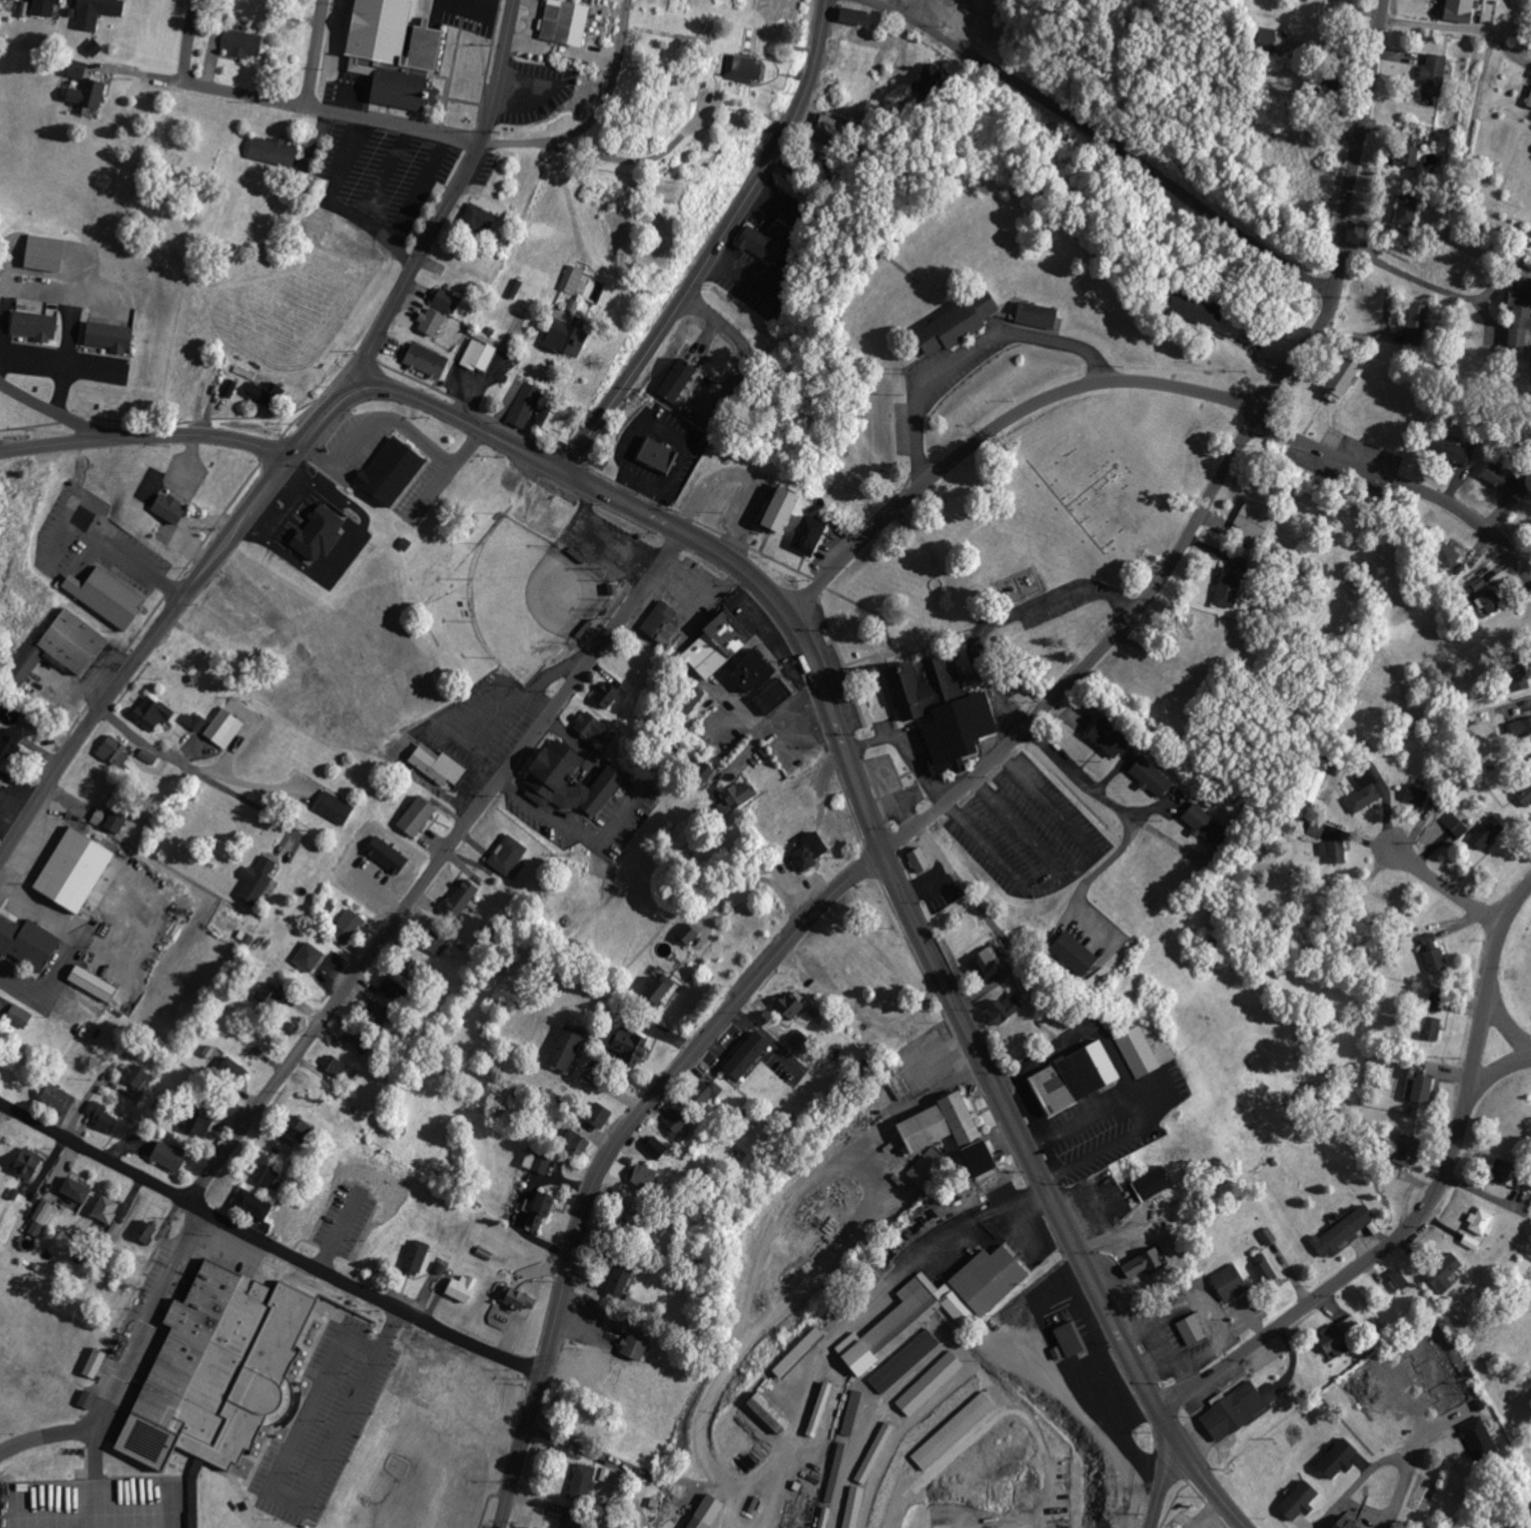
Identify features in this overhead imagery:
building: (47, 0)
road: (478, 1)
building: (88, 10)
building: (845, 14)
parking lot: (459, 20)
building: (562, 21)
road: (187, 41)
building: (237, 41)
road: (1485, 42)
road: (315, 54)
building: (385, 54)
building: (735, 66)
building: (78, 83)
parking lot: (532, 90)
road: (315, 110)
road: (592, 116)
road: (1104, 139)
building: (267, 149)
road: (634, 160)
parking lot: (380, 178)
road: (449, 202)
building: (472, 216)
building: (761, 239)
road: (716, 248)
road: (1412, 270)
building: (566, 278)
building: (438, 296)
building: (424, 320)
building: (31, 326)
building: (559, 334)
building: (104, 337)
road: (739, 340)
road: (969, 352)
building: (474, 353)
building: (421, 360)
road: (54, 362)
road: (490, 371)
building: (1338, 377)
building: (669, 378)
building: (519, 402)
road: (38, 403)
road: (1016, 412)
road: (394, 419)
building: (552, 426)
road: (106, 430)
road: (145, 437)
building: (651, 454)
road: (551, 464)
road: (597, 470)
park: (1098, 470)
building: (385, 473)
road: (1221, 475)
road: (1403, 485)
road: (290, 507)
building: (164, 508)
building: (771, 508)
road: (610, 509)
building: (312, 531)
building: (802, 532)
building: (917, 581)
park: (521, 592)
road: (803, 594)
building: (101, 599)
road: (170, 615)
road: (1007, 619)
building: (657, 621)
building: (66, 641)
building: (708, 644)
building: (20, 664)
building: (743, 670)
building: (605, 690)
building: (768, 695)
building: (687, 697)
road: (502, 705)
building: (147, 710)
building: (938, 712)
building: (190, 719)
building: (590, 725)
road: (772, 725)
building: (220, 726)
road: (144, 742)
building: (109, 750)
building: (143, 754)
building: (433, 763)
building: (699, 772)
building: (543, 777)
road: (248, 786)
building: (733, 795)
road: (861, 798)
road: (246, 799)
building: (330, 806)
road: (1058, 812)
road: (1125, 813)
building: (411, 814)
building: (106, 816)
road: (572, 834)
building: (804, 848)
building: (503, 852)
building: (914, 858)
road: (21, 862)
road: (432, 865)
building: (67, 868)
road: (757, 876)
building: (252, 878)
road: (1056, 882)
road: (1446, 890)
building: (456, 896)
building: (343, 924)
building: (685, 931)
building: (431, 940)
building: (25, 942)
building: (1063, 952)
building: (304, 955)
building: (979, 960)
building: (407, 963)
building: (88, 981)
building: (653, 982)
road: (9, 983)
building: (392, 986)
building: (266, 990)
building: (783, 1002)
building: (999, 1005)
building: (373, 1011)
building: (16, 1015)
road: (1507, 1032)
building: (357, 1036)
building: (795, 1037)
building: (623, 1043)
building: (561, 1046)
building: (1134, 1049)
building: (252, 1050)
building: (739, 1052)
building: (331, 1063)
building: (229, 1069)
building: (1069, 1075)
building: (136, 1076)
building: (698, 1087)
road: (941, 1088)
building: (54, 1095)
road: (1137, 1111)
building: (595, 1112)
building: (99, 1113)
building: (674, 1120)
building: (936, 1121)
building: (194, 1122)
building: (296, 1126)
building: (572, 1141)
building: (652, 1145)
road: (615, 1147)
building: (165, 1153)
building: (973, 1157)
building: (533, 1160)
building: (927, 1166)
building: (262, 1174)
building: (638, 1175)
building: (1145, 1181)
building: (250, 1202)
road: (1427, 1207)
building: (531, 1211)
building: (319, 1224)
road: (1104, 1226)
road: (268, 1242)
building: (412, 1254)
building: (1139, 1259)
building: (437, 1265)
building: (616, 1275)
building: (1229, 1276)
building: (458, 1286)
building: (512, 1297)
building: (1188, 1325)
building: (626, 1329)
road: (143, 1333)
road: (382, 1344)
park: (1509, 1363)
road: (1170, 1427)
road: (48, 1433)
road: (1406, 1477)
road: (1158, 1482)
road: (1359, 1482)
road: (1213, 1486)
road: (1207, 1512)
road: (1209, 1522)

